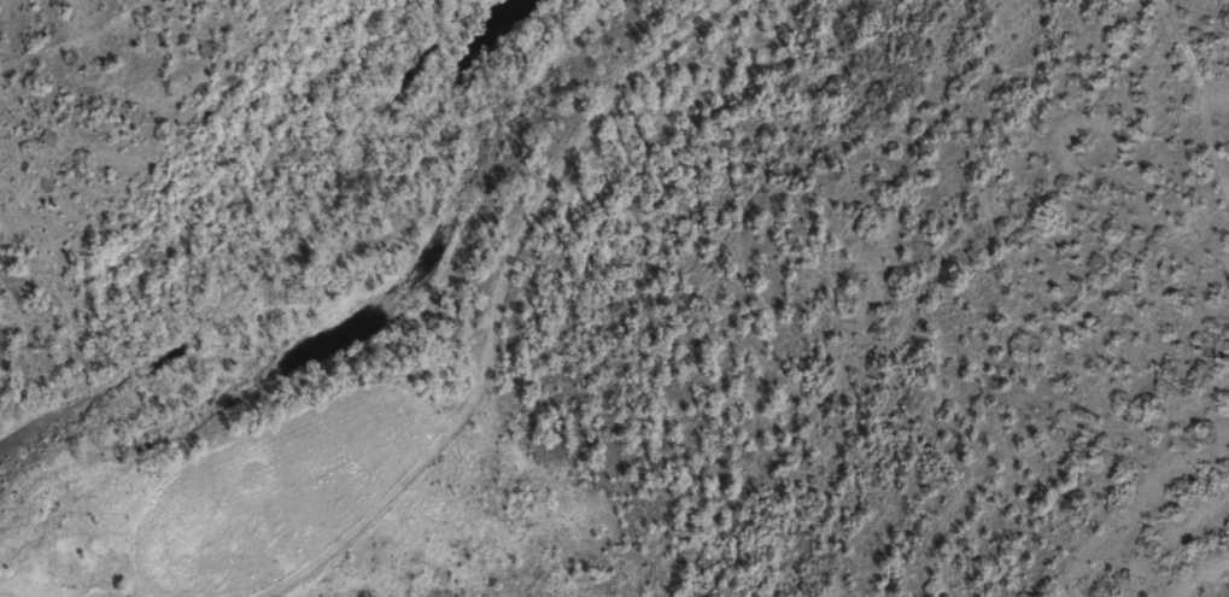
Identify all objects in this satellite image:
road: (513, 314)

